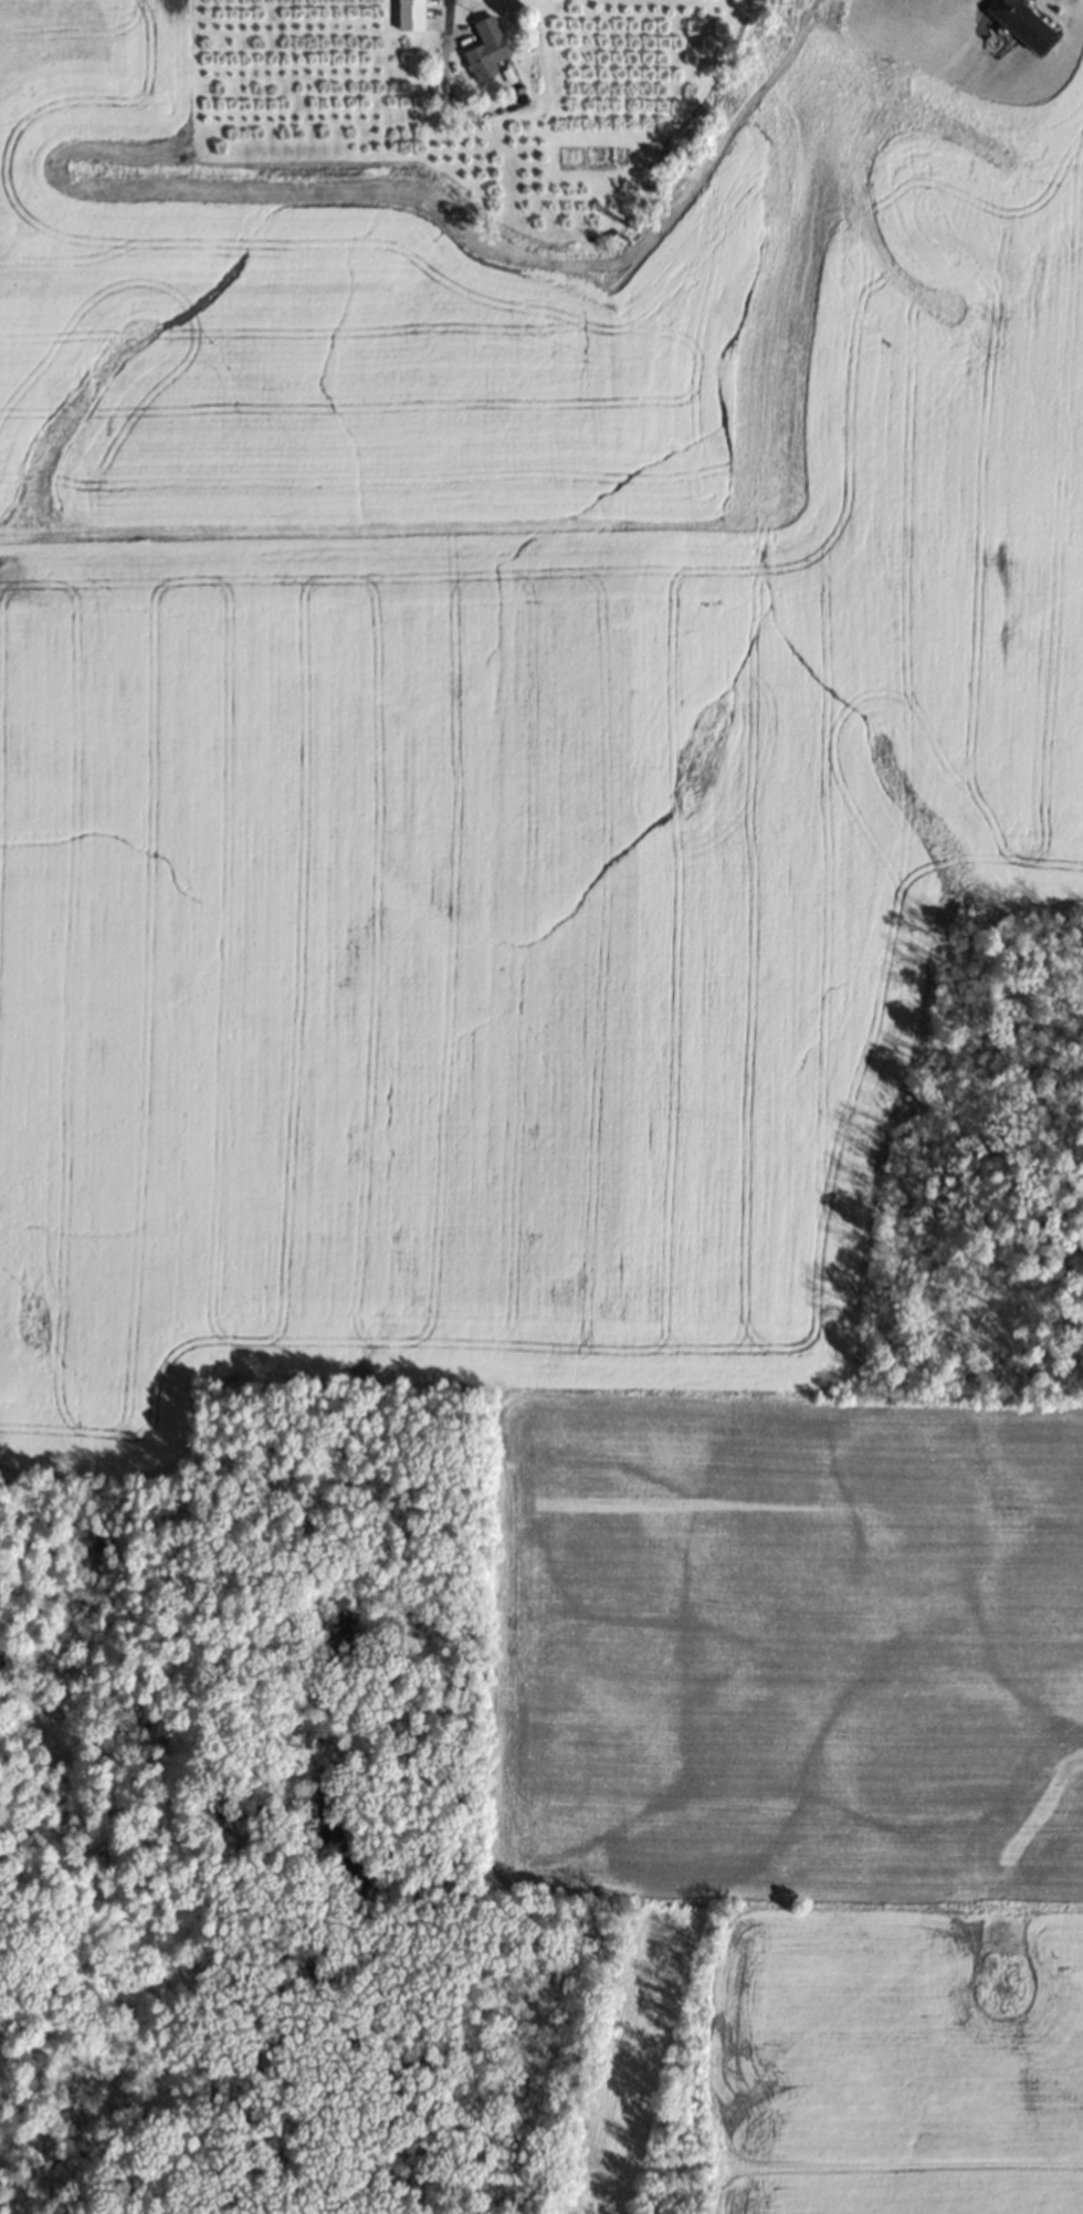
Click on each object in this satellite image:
building: (411, 14)
building: (486, 49)

